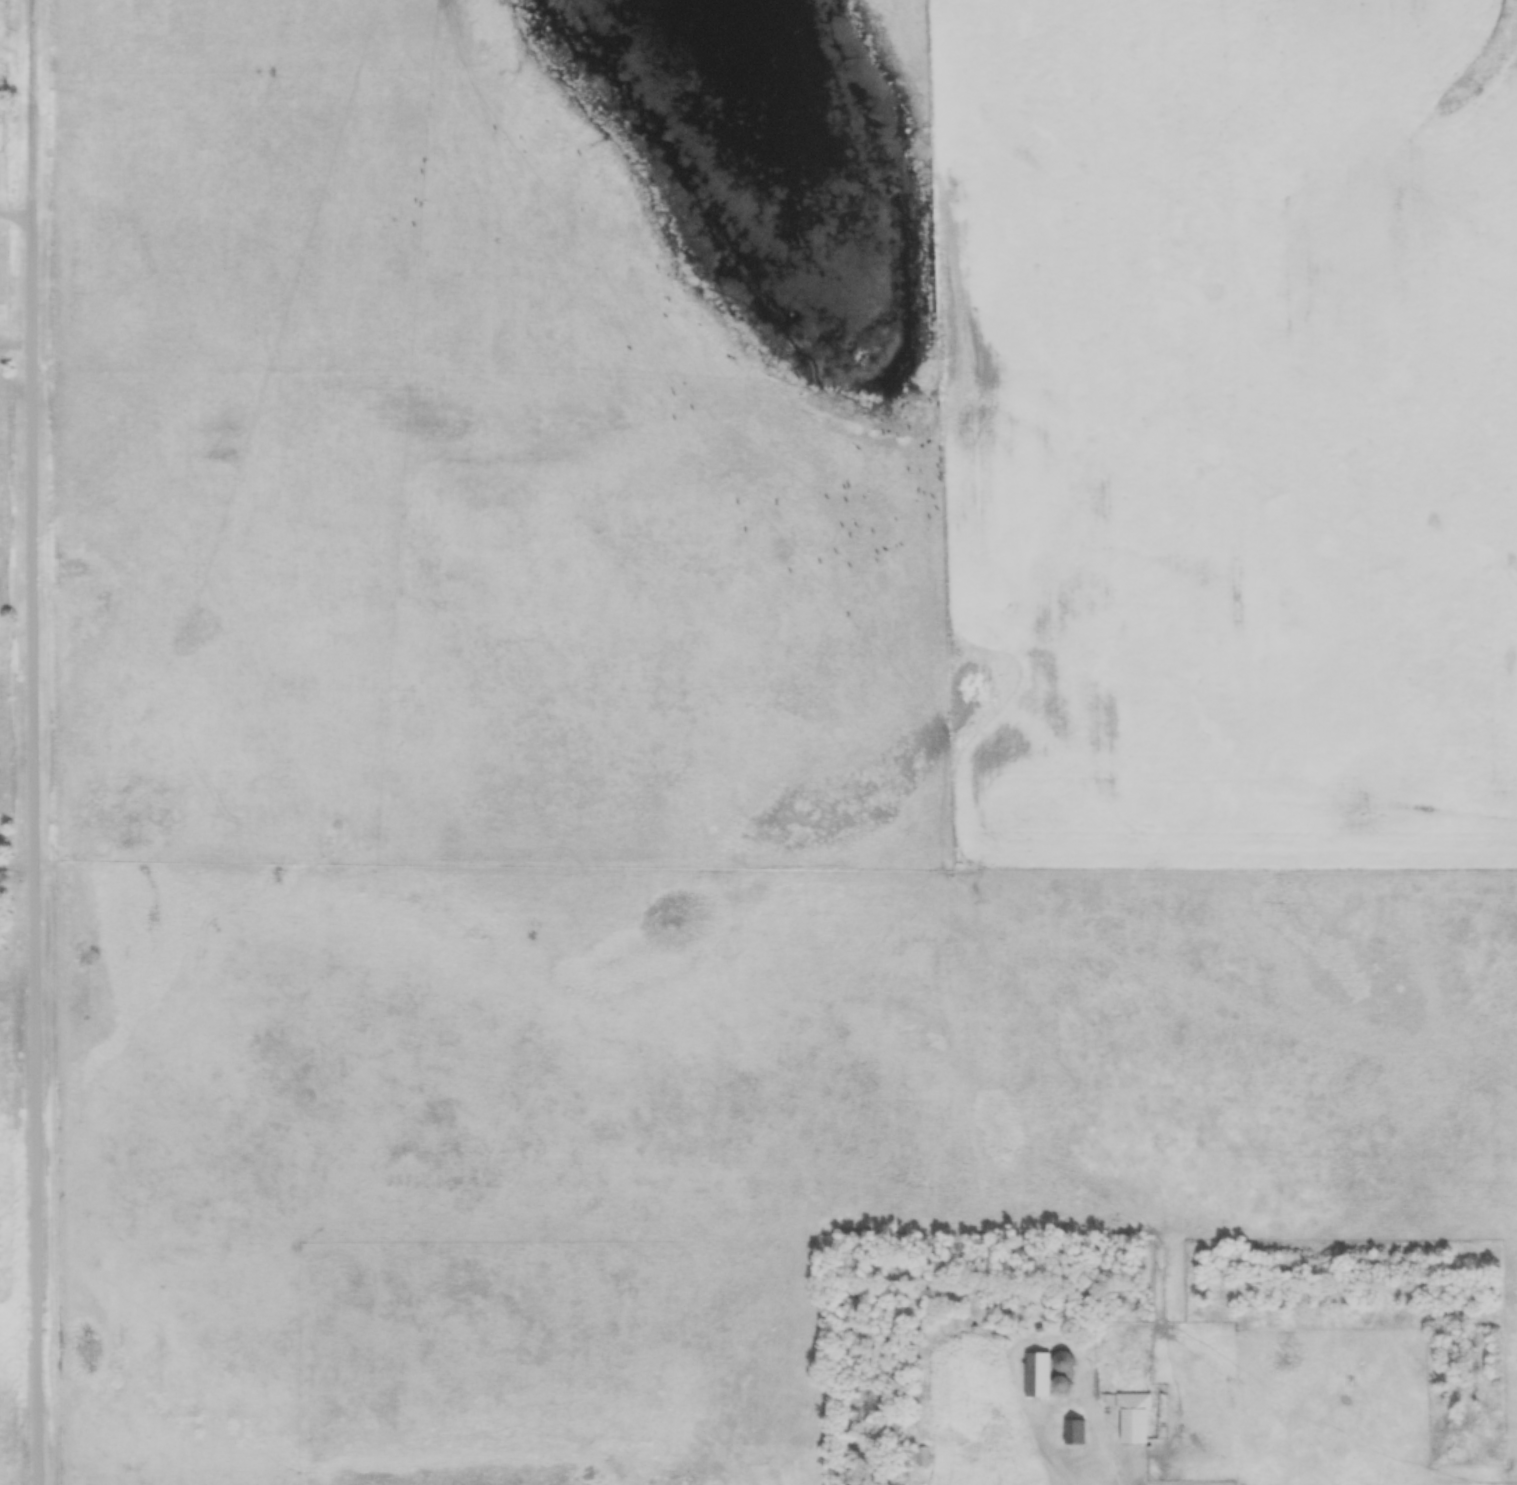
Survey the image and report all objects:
road: (16, 222)
road: (36, 855)
building: (1065, 1362)
building: (1037, 1376)
building: (1064, 1388)
building: (1137, 1422)
building: (1071, 1434)
building: (994, 1435)
building: (922, 1458)

